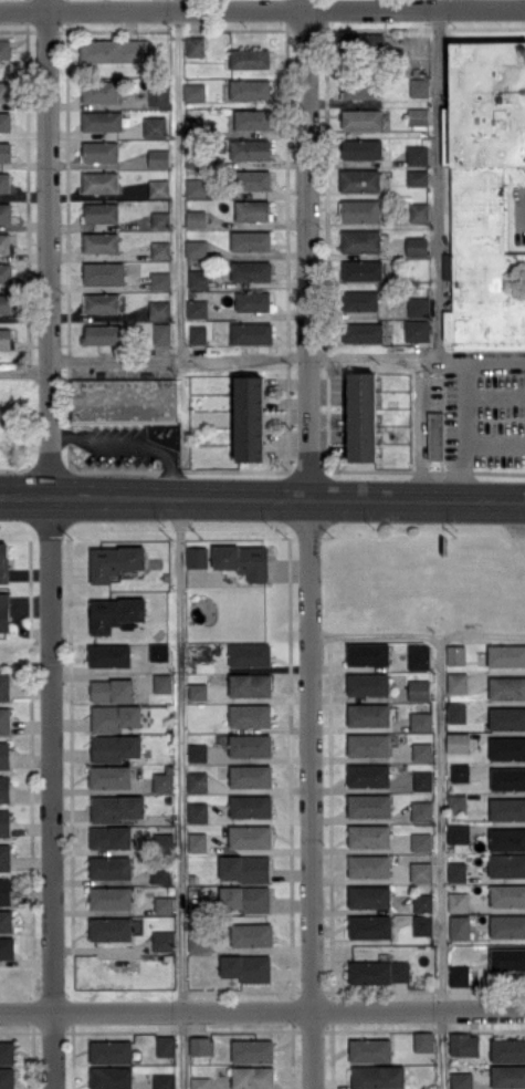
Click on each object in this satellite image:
road: (453, 4)
road: (262, 10)
building: (364, 42)
building: (195, 45)
building: (4, 48)
building: (114, 50)
building: (250, 58)
building: (419, 86)
building: (250, 89)
building: (359, 90)
building: (4, 91)
building: (99, 91)
building: (193, 91)
building: (159, 96)
building: (418, 115)
building: (252, 118)
building: (361, 118)
building: (102, 120)
building: (4, 121)
building: (195, 124)
building: (155, 126)
building: (361, 148)
building: (250, 149)
building: (6, 151)
building: (99, 151)
building: (417, 154)
building: (158, 157)
building: (417, 177)
road: (178, 179)
building: (253, 179)
building: (359, 179)
building: (4, 181)
building: (101, 181)
road: (438, 184)
building: (159, 187)
building: (196, 187)
building: (484, 189)
road: (523, 208)
building: (252, 209)
building: (360, 210)
building: (6, 211)
building: (102, 211)
building: (419, 211)
building: (196, 218)
building: (160, 219)
building: (251, 240)
building: (360, 240)
building: (6, 241)
building: (101, 241)
building: (417, 246)
road: (50, 247)
building: (196, 248)
road: (308, 248)
building: (160, 249)
building: (363, 269)
building: (251, 270)
building: (6, 272)
building: (104, 272)
building: (198, 278)
building: (160, 280)
building: (253, 300)
building: (360, 300)
building: (6, 302)
building: (102, 302)
building: (418, 305)
building: (197, 308)
building: (159, 309)
building: (417, 329)
building: (363, 331)
building: (162, 332)
building: (252, 332)
building: (102, 333)
building: (198, 333)
building: (4, 336)
road: (374, 356)
road: (450, 359)
road: (179, 360)
road: (25, 372)
building: (124, 397)
road: (463, 397)
road: (494, 397)
building: (361, 416)
building: (250, 417)
building: (435, 435)
road: (419, 436)
road: (494, 440)
road: (132, 443)
road: (262, 496)
building: (197, 557)
building: (115, 560)
building: (243, 560)
building: (3, 561)
building: (4, 612)
building: (115, 612)
road: (417, 634)
building: (159, 652)
building: (109, 654)
building: (250, 654)
building: (368, 654)
building: (455, 654)
building: (506, 655)
building: (418, 656)
building: (458, 682)
building: (162, 683)
building: (250, 684)
building: (368, 684)
building: (4, 686)
building: (506, 687)
building: (419, 688)
building: (112, 689)
building: (198, 691)
building: (456, 712)
building: (368, 714)
building: (250, 715)
building: (115, 717)
building: (507, 717)
building: (4, 719)
building: (421, 720)
building: (458, 741)
building: (368, 744)
building: (251, 745)
building: (115, 747)
building: (507, 748)
building: (197, 751)
building: (422, 751)
building: (4, 755)
road: (311, 755)
building: (460, 771)
building: (369, 775)
building: (111, 776)
building: (251, 776)
building: (508, 778)
building: (423, 780)
building: (162, 781)
building: (198, 781)
building: (4, 788)
road: (52, 792)
road: (180, 792)
building: (456, 801)
building: (369, 805)
building: (251, 806)
building: (117, 807)
building: (507, 808)
building: (421, 810)
building: (198, 811)
building: (4, 822)
building: (458, 832)
building: (369, 834)
building: (250, 836)
building: (111, 837)
building: (507, 839)
building: (162, 841)
building: (198, 841)
building: (421, 841)
building: (4, 857)
road: (438, 861)
building: (507, 864)
building: (369, 865)
building: (111, 867)
building: (244, 868)
building: (421, 871)
building: (456, 871)
building: (161, 873)
building: (4, 891)
building: (369, 895)
building: (507, 895)
building: (111, 896)
building: (244, 898)
building: (458, 901)
building: (422, 902)
building: (164, 903)
building: (6, 920)
building: (422, 924)
building: (507, 925)
building: (370, 926)
building: (460, 926)
building: (111, 929)
building: (252, 934)
building: (162, 940)
building: (199, 943)
building: (7, 947)
building: (507, 958)
building: (246, 967)
building: (379, 972)
building: (459, 975)
road: (262, 1013)
building: (423, 1040)
building: (463, 1044)
building: (166, 1045)
building: (201, 1045)
building: (370, 1049)
building: (507, 1049)
building: (253, 1050)
road: (312, 1050)
building: (7, 1051)
building: (112, 1051)
building: (508, 1075)
building: (111, 1077)
building: (253, 1077)
building: (378, 1077)
building: (7, 1078)
building: (461, 1080)
building: (164, 1081)
building: (200, 1082)

